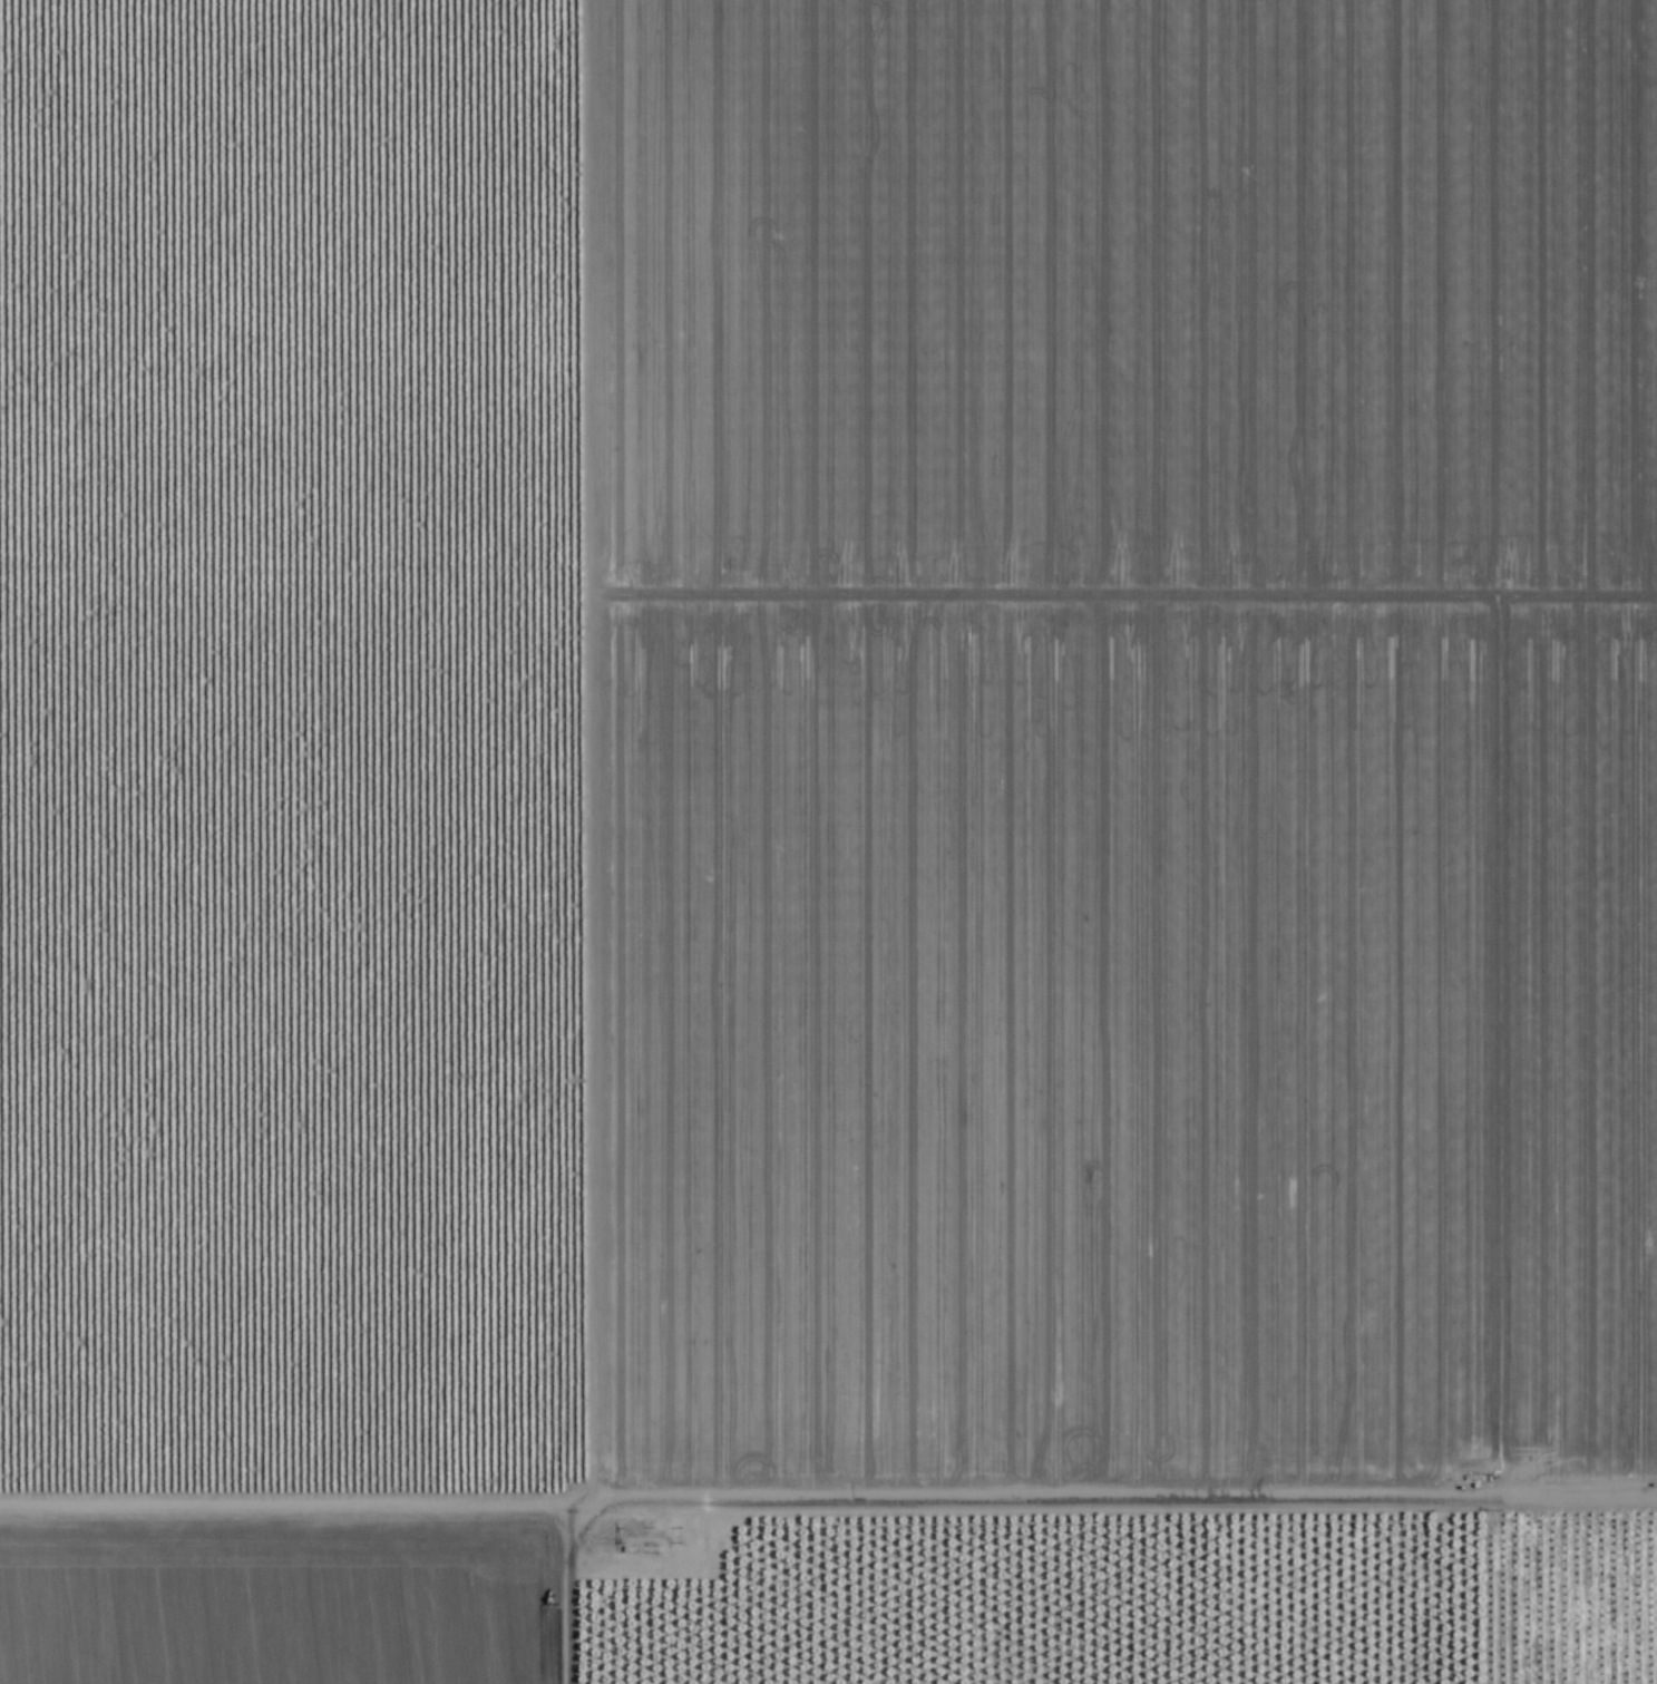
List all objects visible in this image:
crop: (821, 825)
road: (546, 841)
road: (828, 1490)

